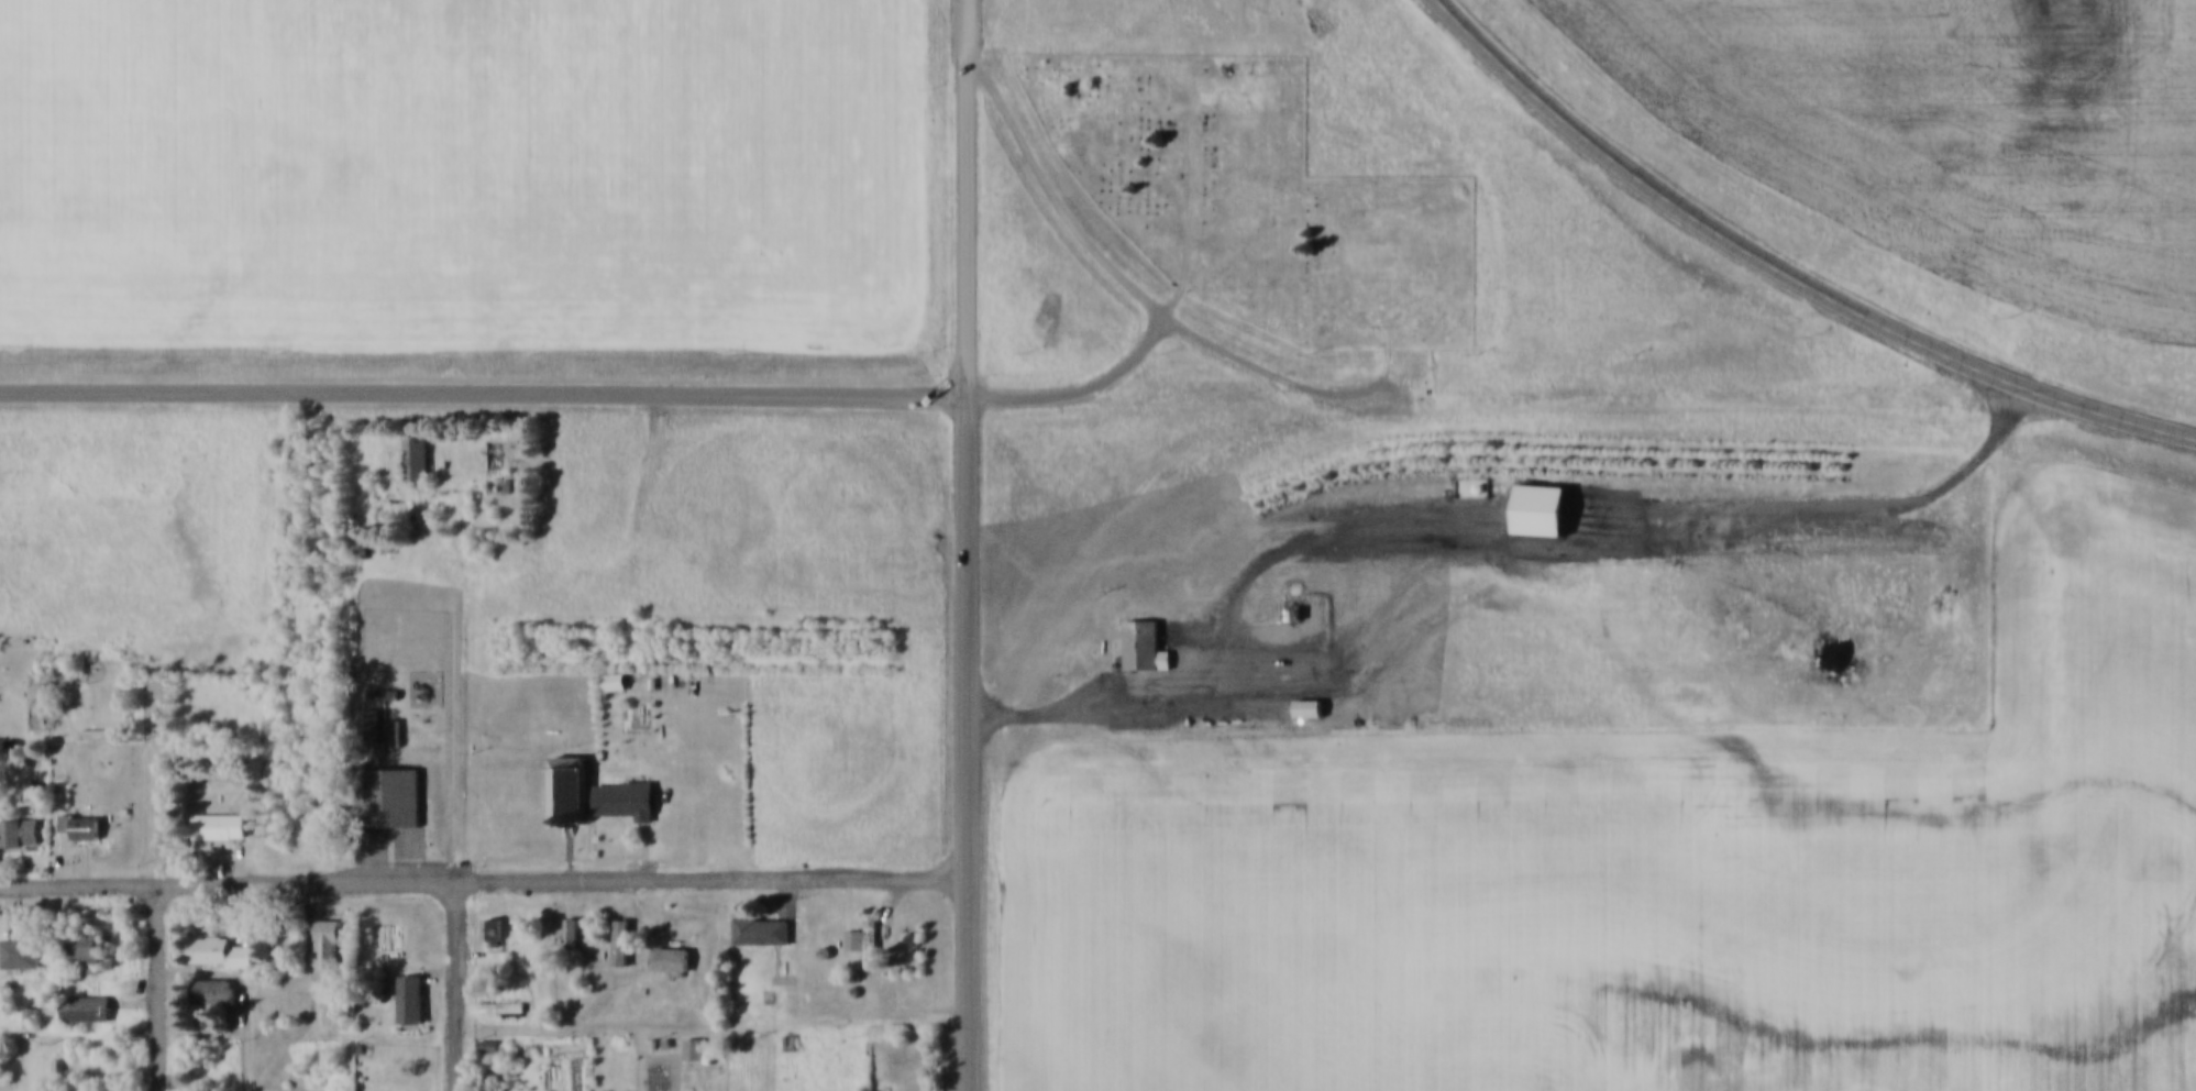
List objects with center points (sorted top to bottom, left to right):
road: (974, 24)
park: (1257, 180)
road: (1190, 192)
road: (974, 221)
road: (1792, 266)
road: (1132, 287)
road: (1078, 376)
road: (486, 390)
building: (412, 450)
building: (1472, 466)
building: (1536, 496)
road: (1838, 502)
storage tank: (1296, 571)
road: (489, 573)
building: (1290, 600)
building: (1143, 630)
road: (1361, 644)
building: (613, 664)
building: (383, 675)
building: (613, 683)
building: (1305, 693)
road: (1034, 709)
building: (1307, 709)
building: (365, 710)
building: (96, 715)
building: (394, 715)
building: (367, 728)
road: (970, 741)
building: (570, 773)
building: (625, 781)
building: (387, 782)
building: (624, 801)
building: (76, 809)
building: (216, 812)
building: (19, 817)
building: (218, 827)
building: (79, 828)
building: (19, 834)
road: (485, 879)
building: (760, 913)
building: (569, 916)
building: (488, 917)
building: (872, 921)
building: (856, 922)
building: (620, 926)
building: (323, 928)
building: (490, 932)
building: (761, 932)
building: (570, 933)
building: (81, 934)
building: (824, 935)
silo: (824, 935)
building: (21, 937)
building: (217, 937)
building: (670, 943)
building: (783, 946)
building: (220, 951)
building: (87, 954)
building: (853, 957)
silo: (853, 957)
building: (669, 960)
building: (854, 972)
silo: (854, 972)
building: (209, 977)
building: (406, 985)
road: (460, 985)
road: (161, 987)
building: (498, 991)
building: (213, 992)
building: (82, 994)
building: (29, 1000)
building: (85, 1010)
building: (792, 1023)
building: (667, 1024)
building: (652, 1025)
building: (487, 1031)
building: (695, 1032)
building: (357, 1033)
road: (255, 1045)
building: (487, 1047)
building: (692, 1049)
building: (625, 1087)
building: (497, 1088)
building: (304, 1089)
building: (793, 1090)

